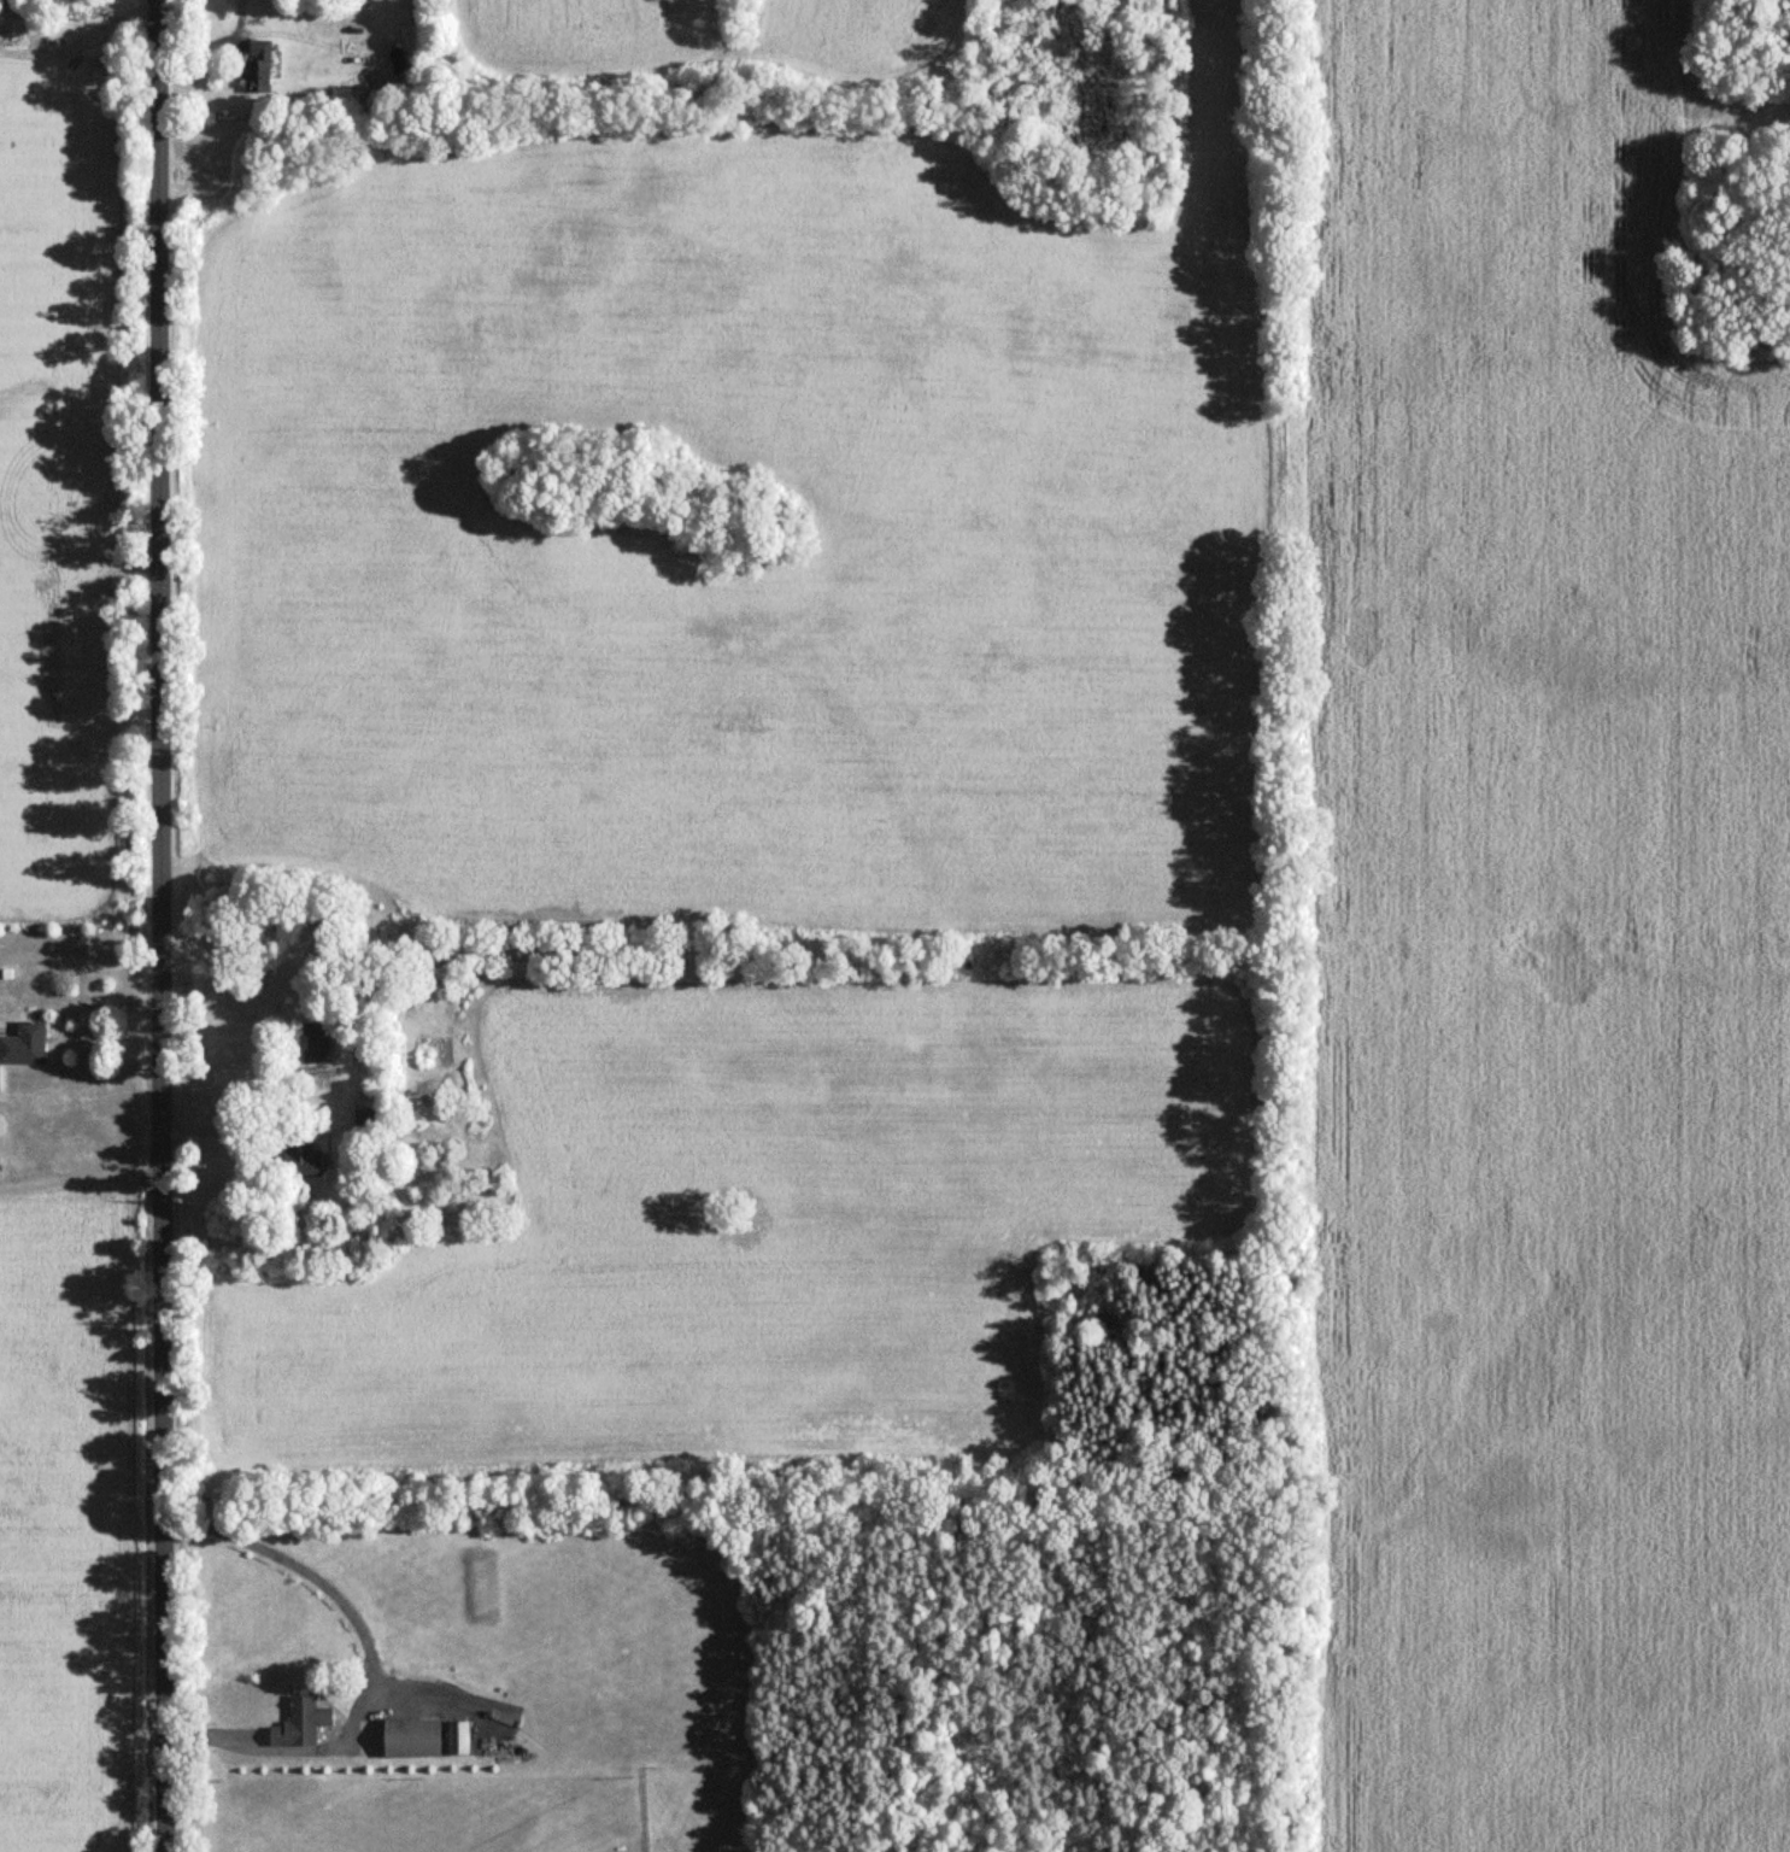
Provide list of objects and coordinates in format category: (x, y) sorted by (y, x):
building: (256, 66)
road: (159, 925)
road: (80, 956)
road: (262, 972)
building: (312, 1043)
building: (23, 1044)
building: (362, 1124)
road: (240, 1129)
building: (300, 1161)
road: (80, 1172)
road: (372, 1661)
building: (298, 1723)
building: (456, 1737)
building: (409, 1739)

